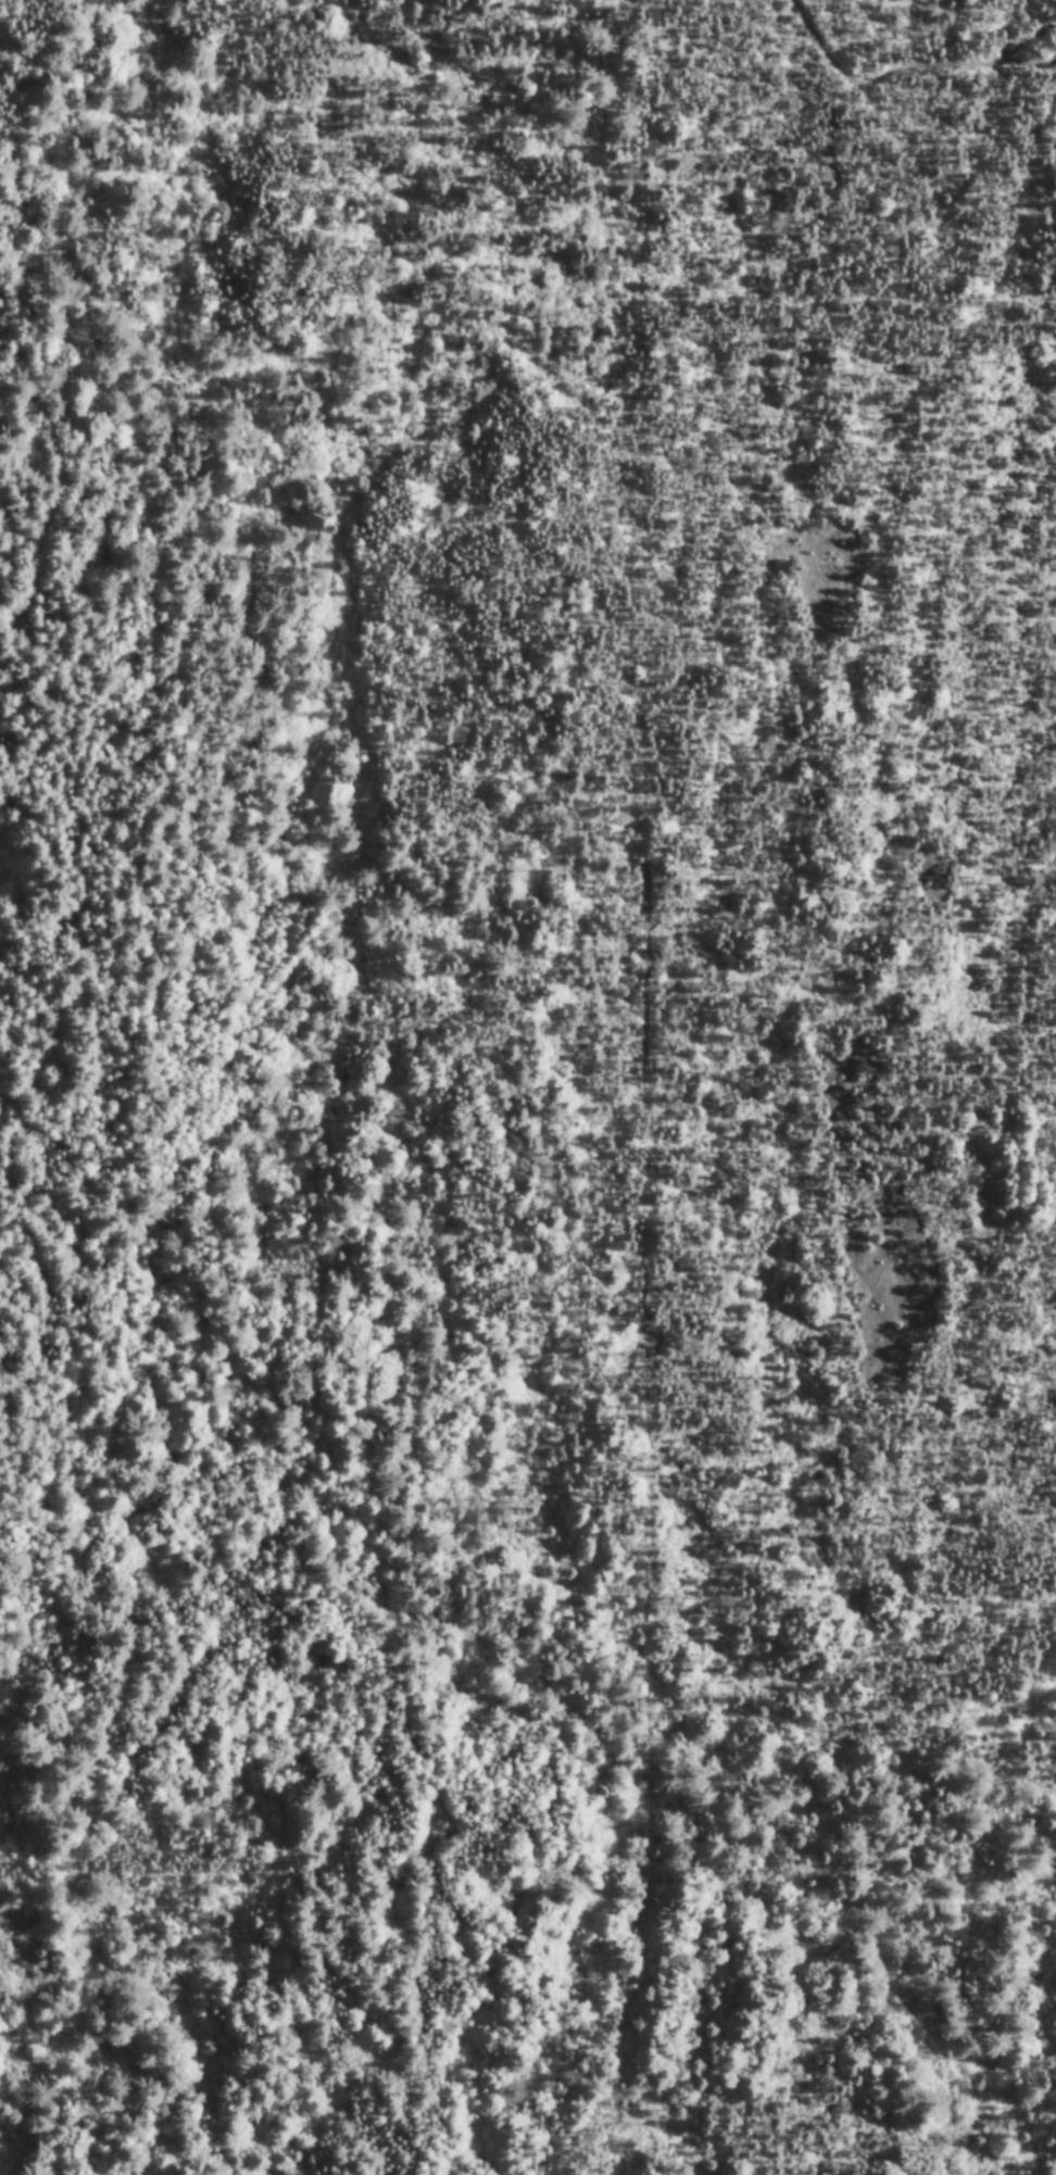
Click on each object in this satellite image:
road: (905, 66)

